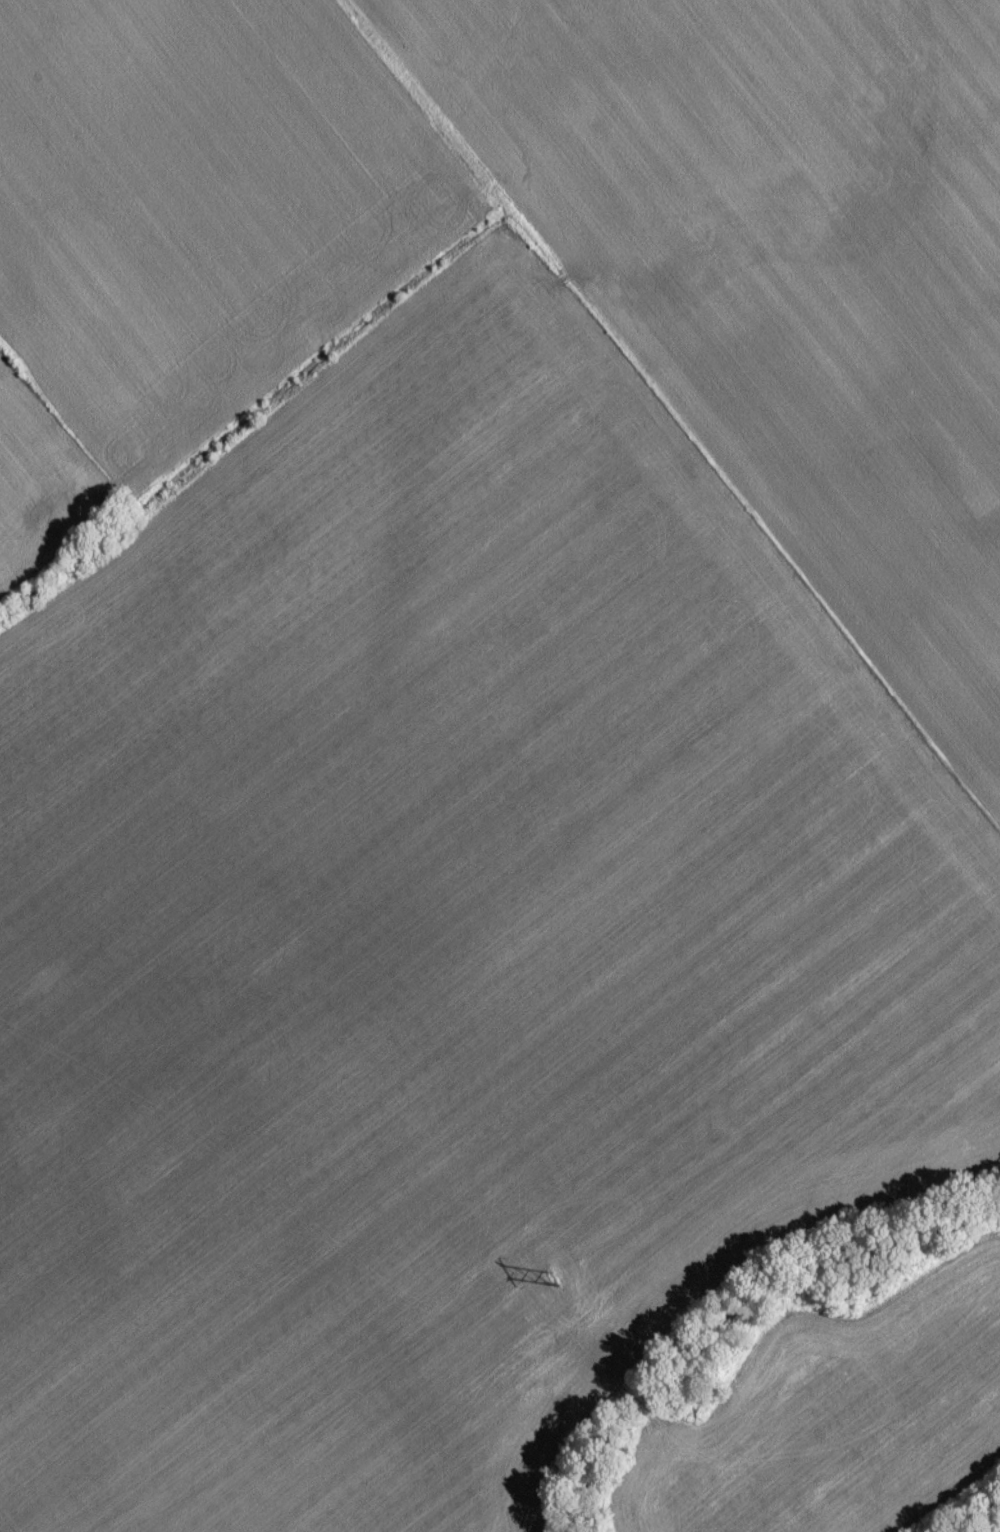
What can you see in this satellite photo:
power tower: (553, 1286)

